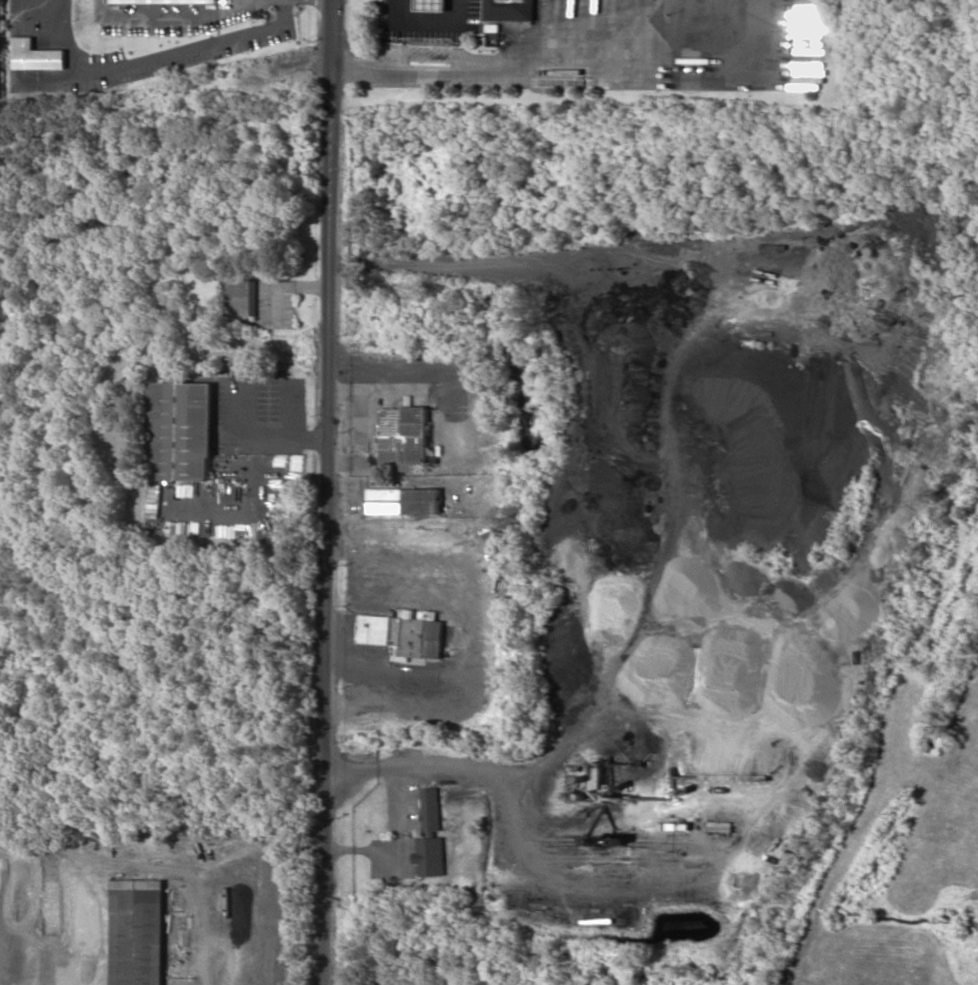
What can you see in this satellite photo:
building: (162, 1)
building: (479, 9)
road: (164, 13)
road: (11, 15)
building: (35, 56)
road: (157, 56)
building: (239, 296)
building: (180, 431)
building: (404, 437)
road: (327, 492)
building: (403, 501)
building: (404, 633)
building: (430, 809)
building: (430, 856)
building: (137, 932)

